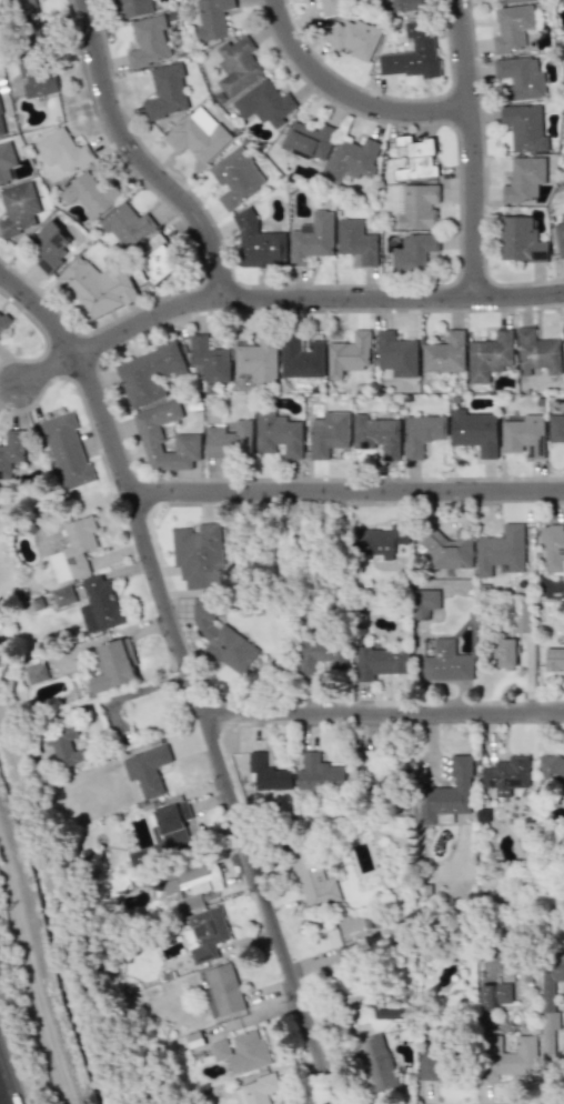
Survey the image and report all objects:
building: (515, 1)
building: (562, 2)
building: (406, 4)
building: (331, 7)
building: (132, 8)
building: (212, 18)
building: (511, 28)
building: (353, 38)
building: (148, 41)
building: (413, 52)
building: (236, 66)
building: (520, 78)
building: (36, 79)
building: (165, 91)
road: (351, 96)
building: (264, 103)
building: (1, 126)
building: (524, 127)
building: (198, 134)
building: (308, 139)
road: (475, 148)
building: (62, 151)
road: (140, 158)
building: (351, 159)
building: (419, 160)
building: (6, 162)
building: (235, 177)
building: (524, 178)
building: (89, 194)
building: (416, 205)
building: (18, 208)
building: (127, 225)
building: (560, 235)
building: (311, 238)
building: (520, 240)
building: (356, 241)
building: (258, 243)
building: (49, 245)
building: (413, 251)
building: (159, 259)
building: (98, 288)
road: (313, 297)
building: (3, 323)
building: (563, 323)
building: (444, 353)
building: (537, 353)
building: (349, 354)
building: (395, 354)
building: (489, 355)
building: (300, 358)
building: (209, 359)
building: (255, 360)
road: (47, 370)
building: (148, 373)
building: (555, 428)
building: (474, 431)
building: (328, 433)
building: (421, 433)
building: (187, 434)
building: (276, 434)
building: (376, 434)
building: (524, 435)
building: (229, 441)
building: (66, 450)
building: (11, 451)
road: (346, 489)
building: (553, 546)
building: (73, 550)
building: (447, 550)
building: (500, 550)
building: (198, 555)
building: (62, 595)
building: (423, 602)
building: (99, 603)
building: (522, 618)
building: (220, 638)
building: (504, 652)
building: (320, 654)
building: (554, 660)
building: (380, 662)
building: (446, 662)
building: (114, 665)
building: (36, 672)
road: (191, 675)
road: (383, 710)
building: (64, 746)
building: (147, 770)
building: (266, 774)
building: (551, 774)
building: (318, 775)
building: (507, 776)
building: (445, 794)
building: (171, 826)
building: (312, 880)
building: (184, 882)
building: (205, 933)
building: (344, 985)
building: (222, 991)
building: (495, 995)
building: (550, 1002)
building: (194, 1040)
building: (241, 1052)
building: (507, 1057)
building: (375, 1063)
building: (432, 1064)
road: (9, 1080)
building: (255, 1090)

